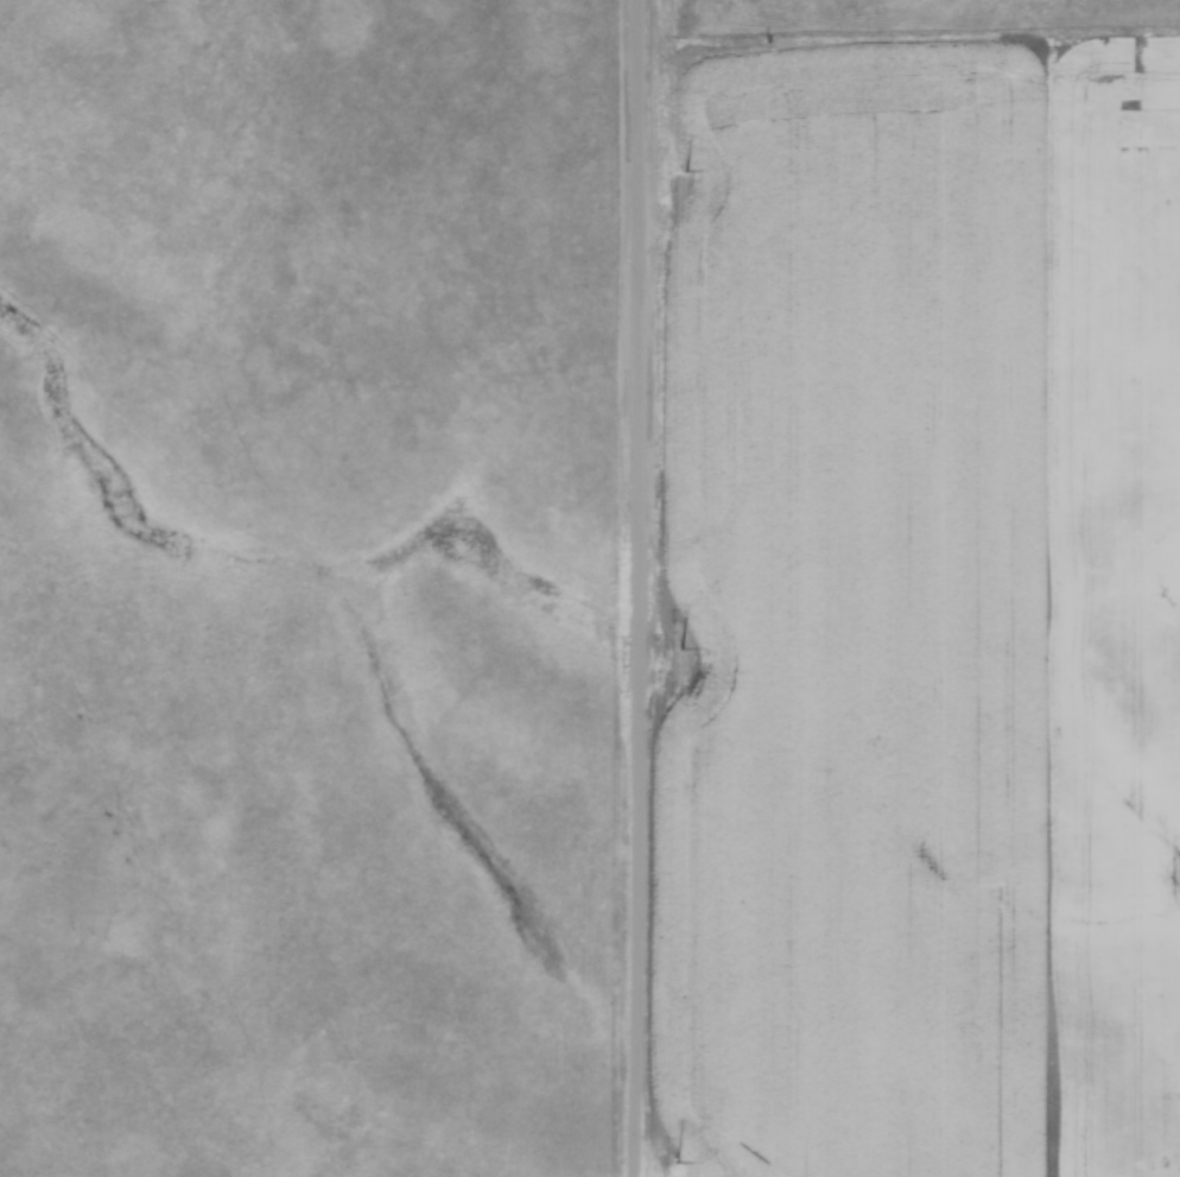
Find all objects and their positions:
power tower: (685, 169)
road: (639, 588)
power tower: (680, 647)
power tower: (675, 1159)

